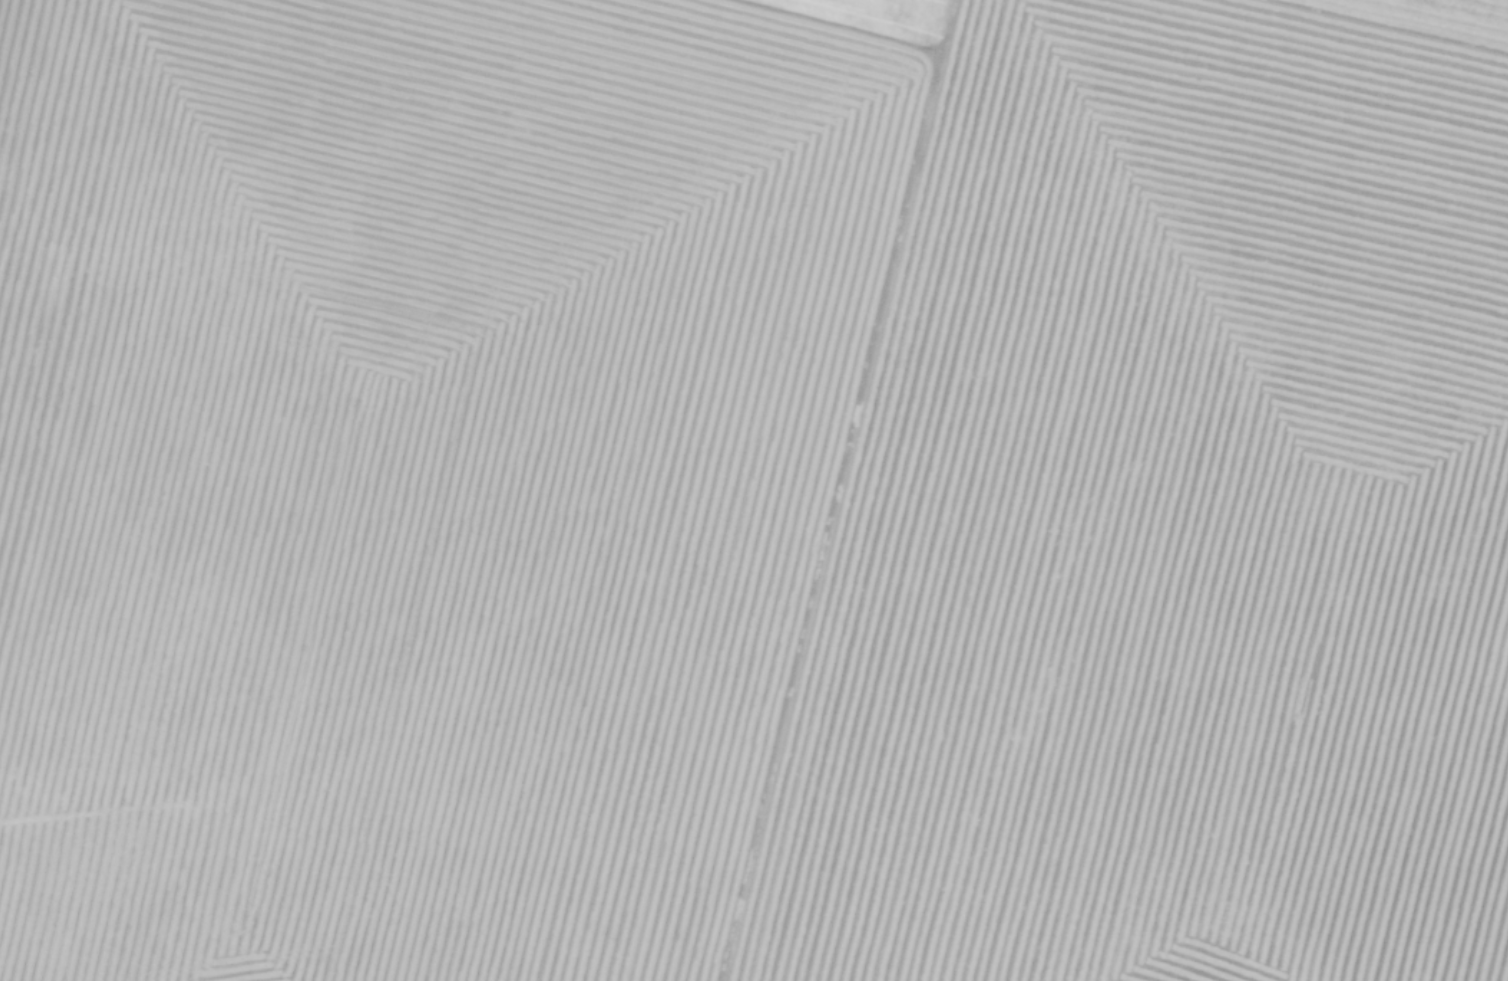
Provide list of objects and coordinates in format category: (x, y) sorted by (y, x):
crop: (754, 490)

